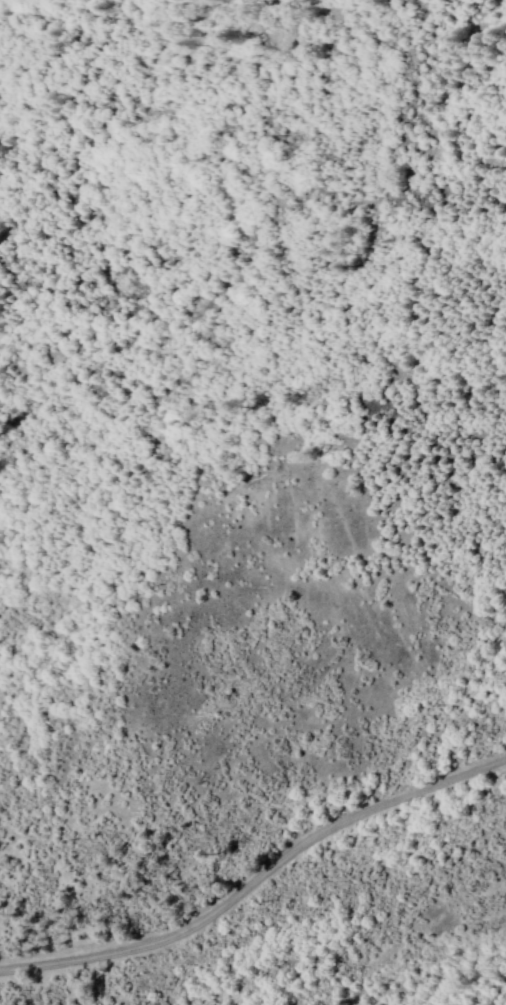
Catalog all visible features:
road: (255, 880)

